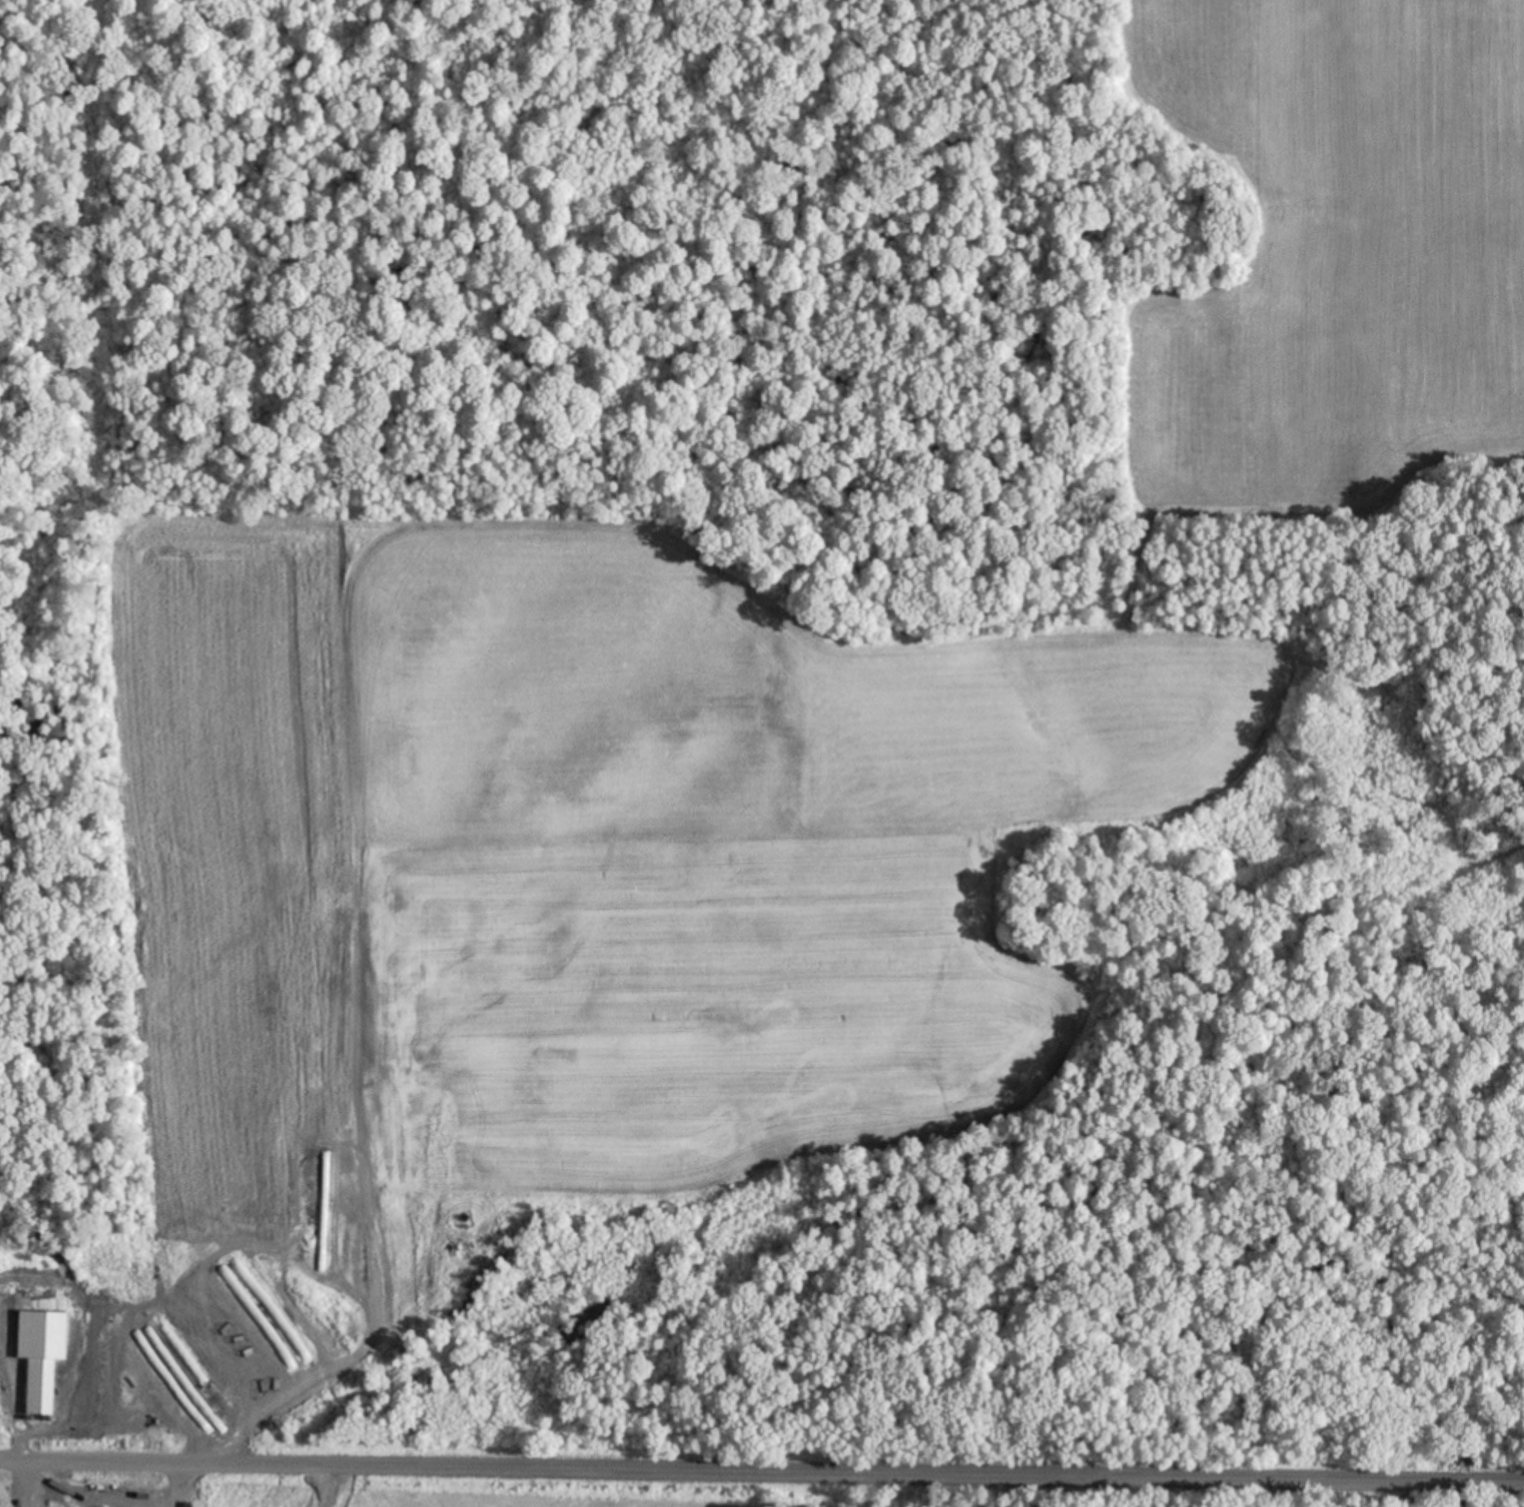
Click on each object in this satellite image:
road: (761, 1473)

